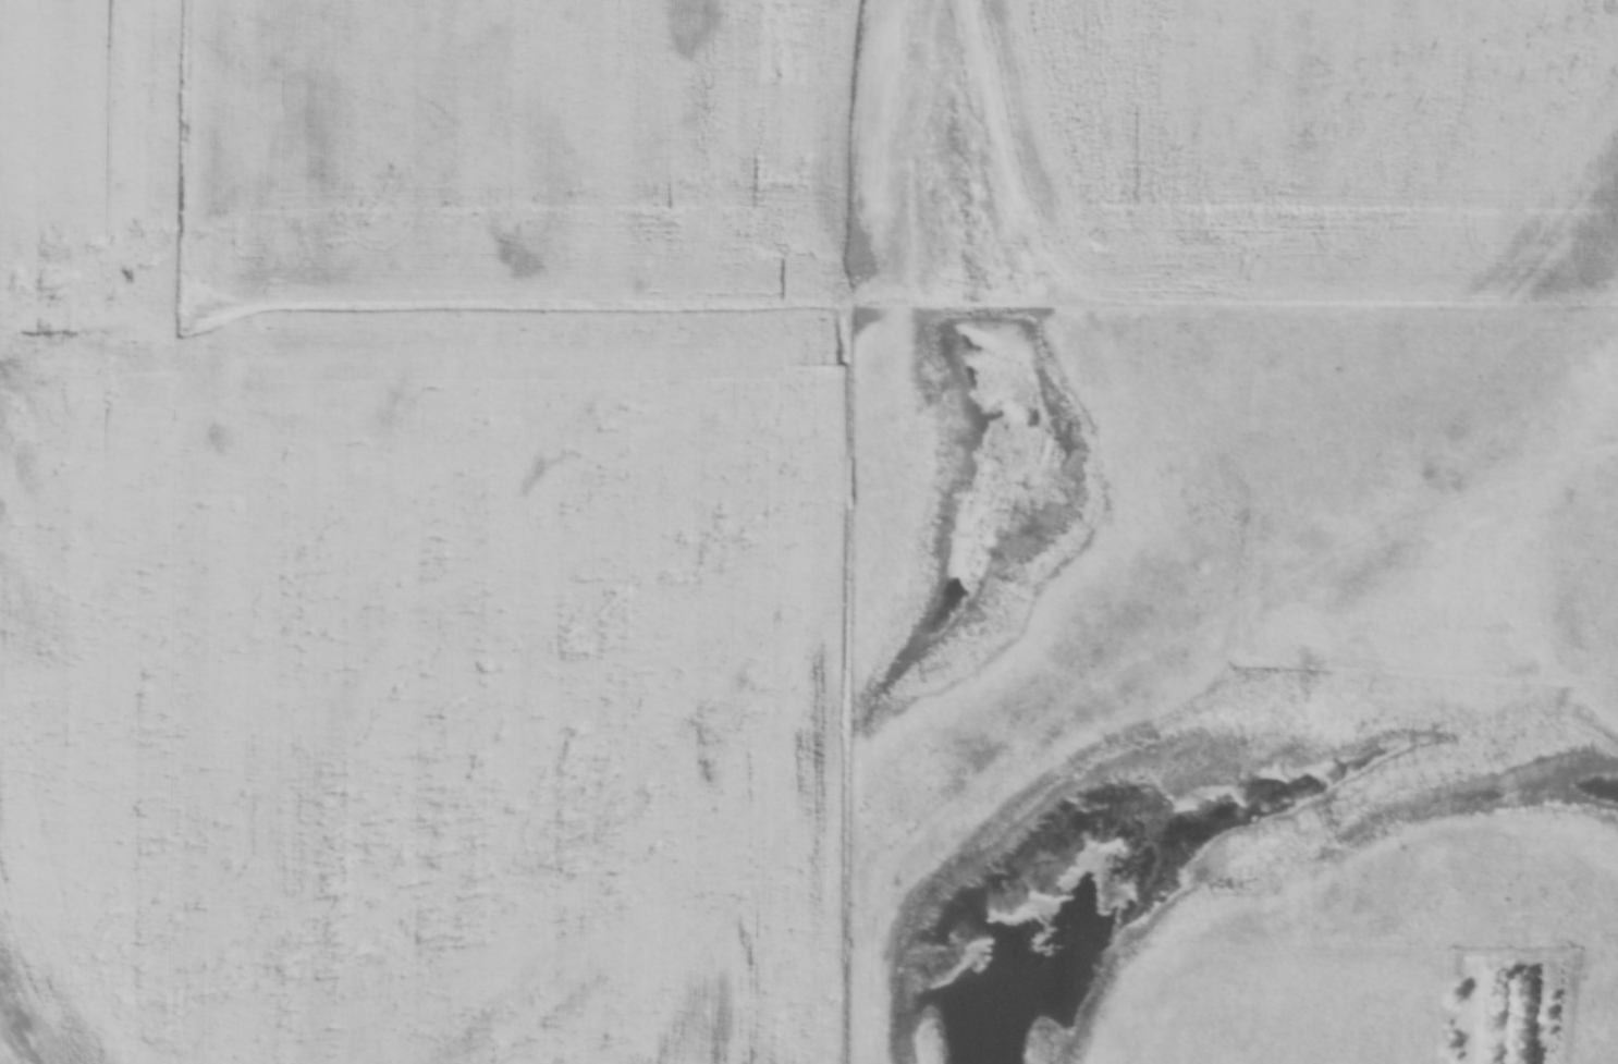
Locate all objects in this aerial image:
road: (809, 304)

